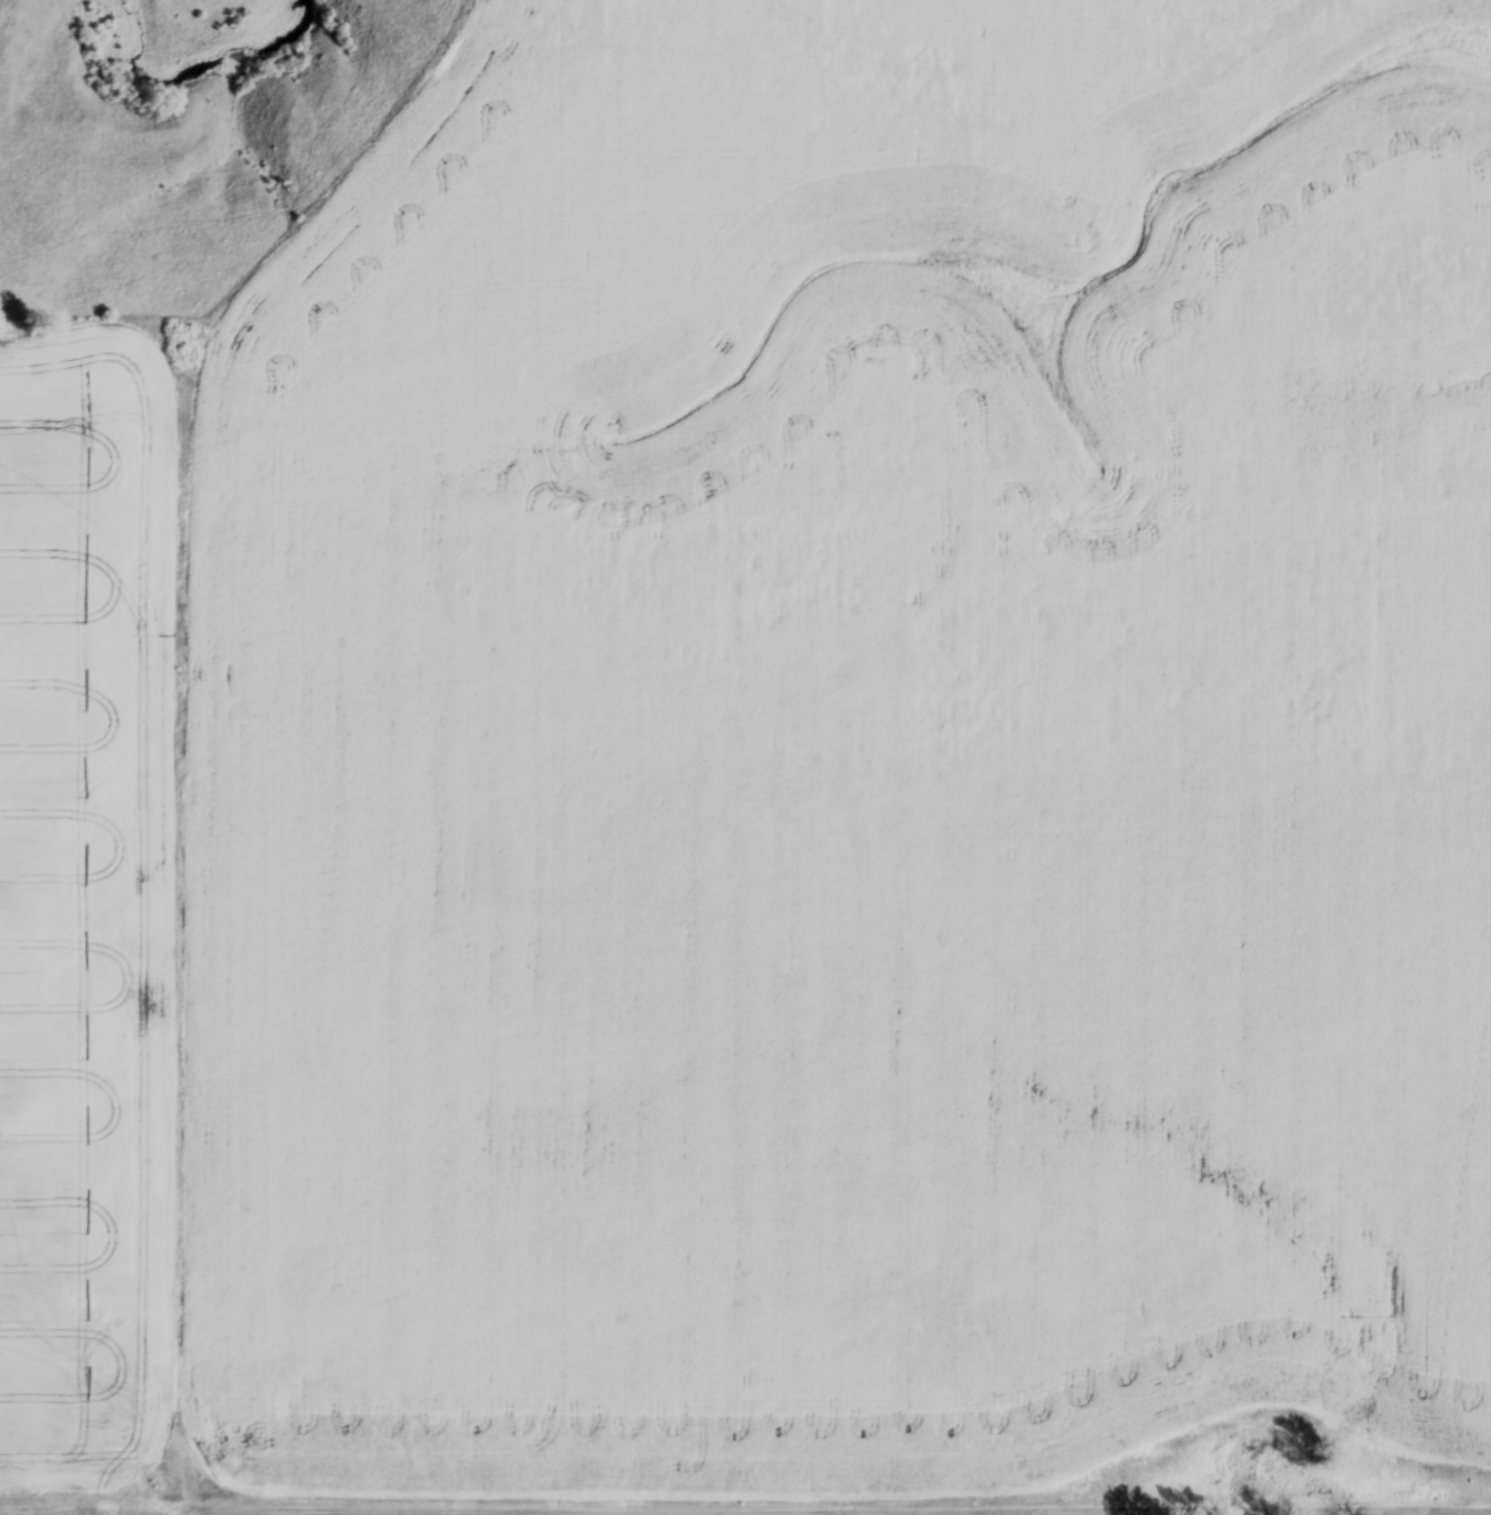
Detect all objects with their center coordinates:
road: (837, 1511)

